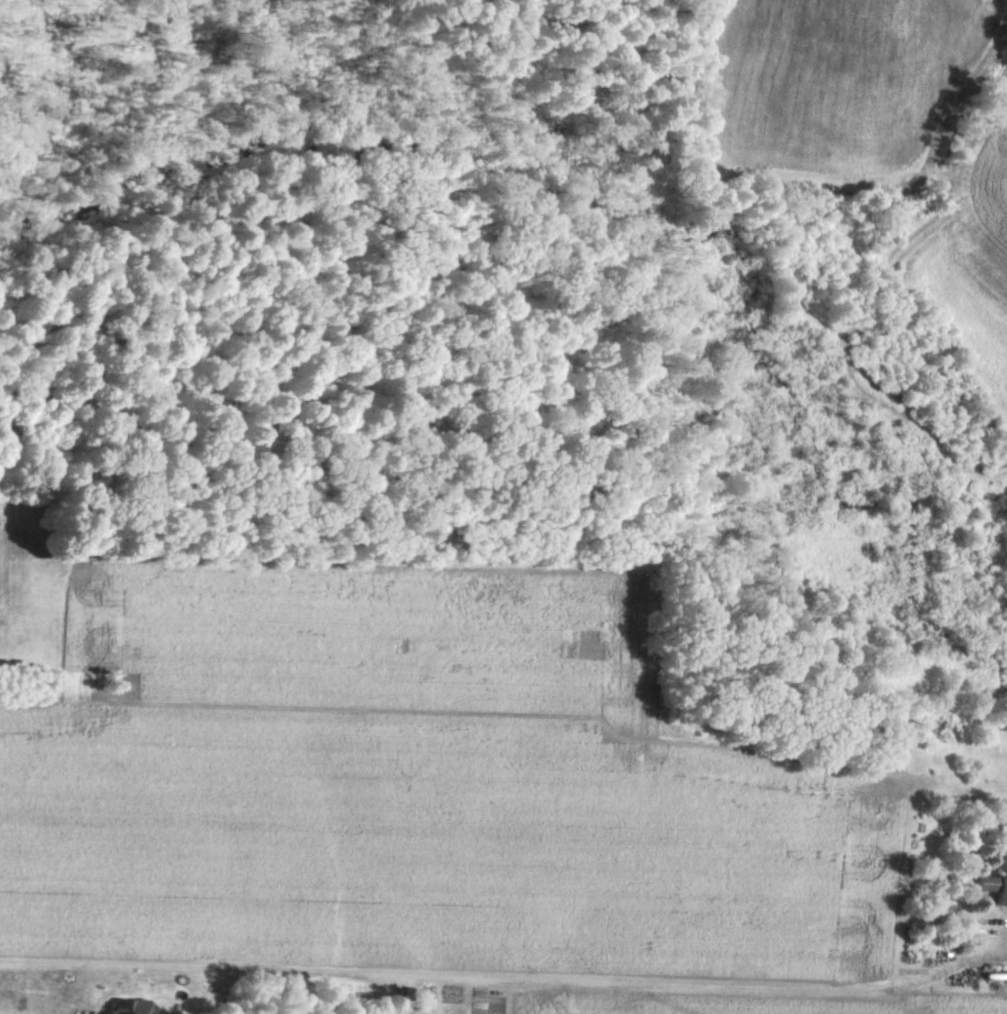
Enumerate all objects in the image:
building: (992, 889)
road: (505, 976)
building: (123, 1006)

